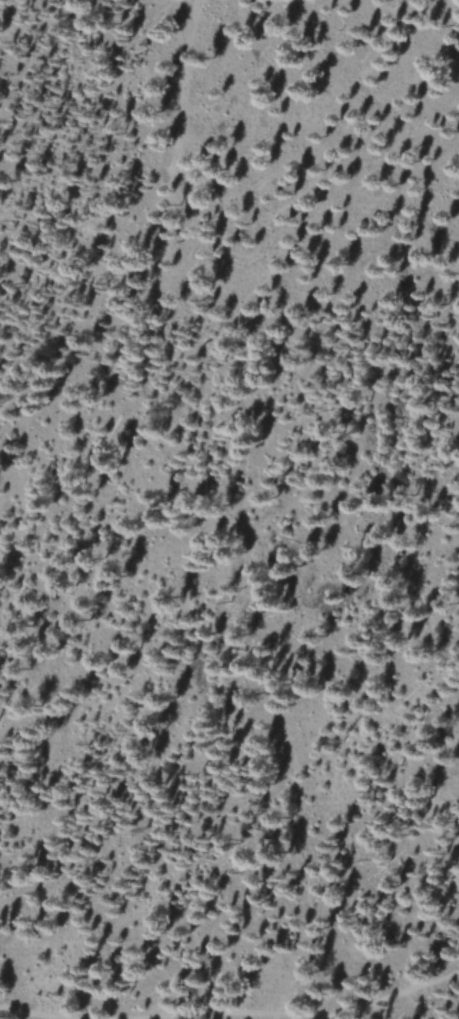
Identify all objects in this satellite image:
road: (405, 990)
road: (177, 1014)

